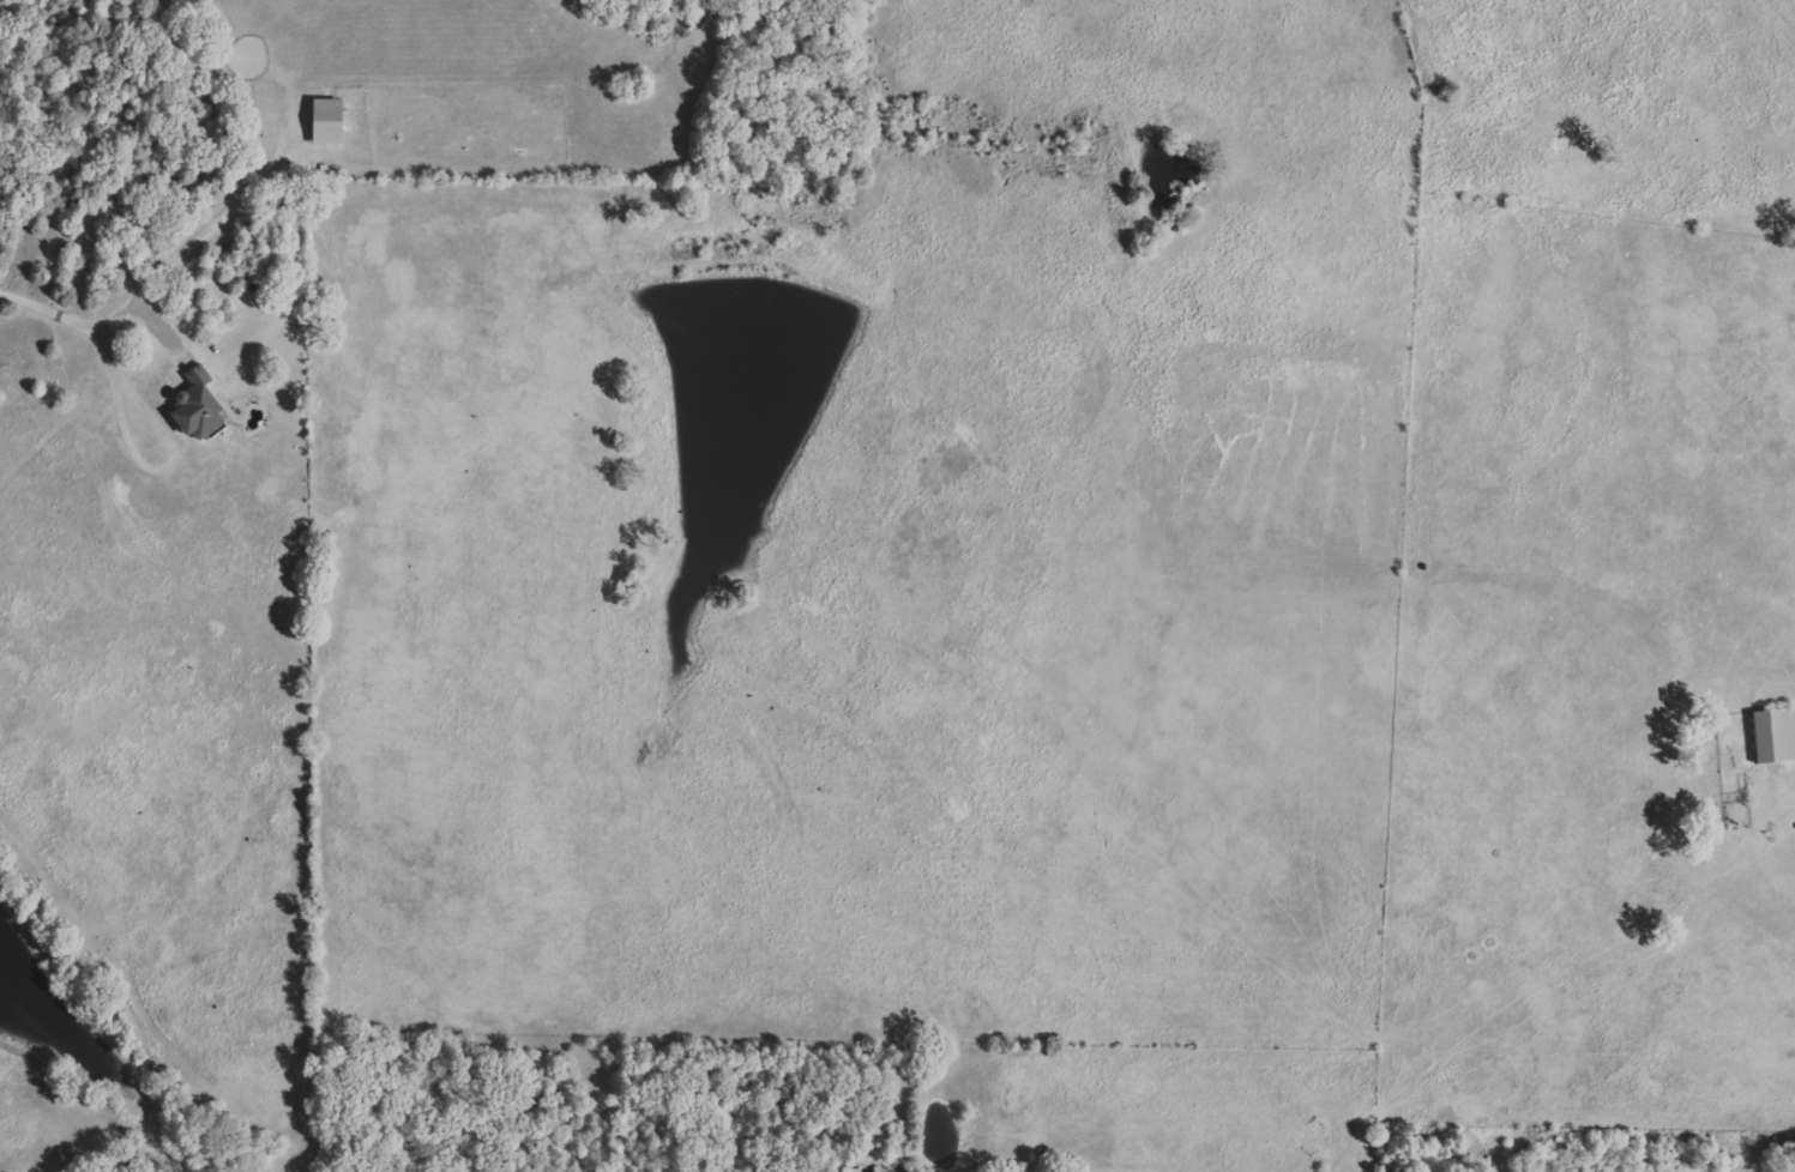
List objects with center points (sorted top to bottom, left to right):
building: (337, 121)
road: (156, 276)
building: (1773, 735)

